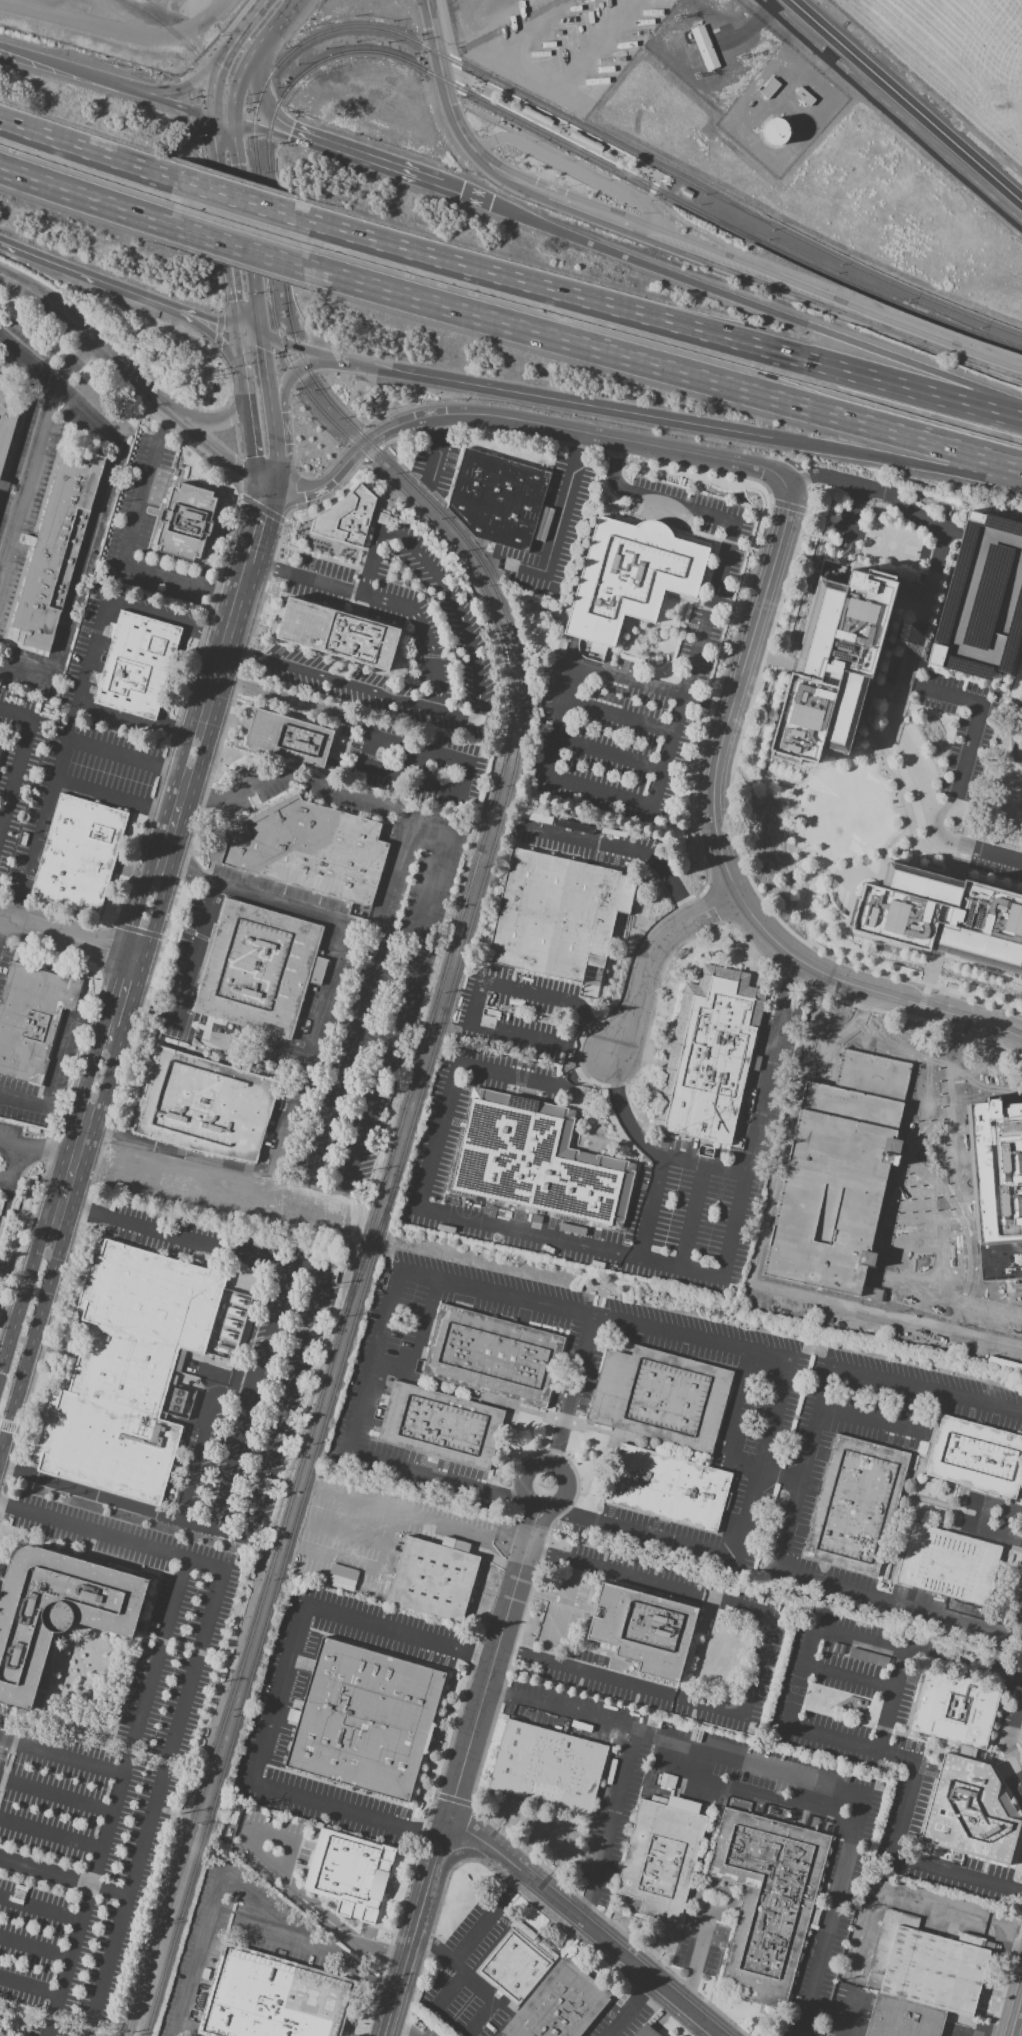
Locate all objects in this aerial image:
road: (506, 26)
road: (119, 33)
building: (703, 49)
road: (451, 51)
road: (3, 52)
road: (227, 53)
road: (249, 56)
airport: (956, 56)
road: (64, 71)
railway: (209, 73)
road: (470, 82)
road: (185, 87)
road: (260, 90)
road: (905, 102)
road: (166, 103)
building: (534, 116)
traffic signals: (210, 117)
road: (220, 120)
road: (453, 121)
traffic signals: (230, 123)
road: (258, 129)
building: (774, 131)
storage tank: (774, 131)
building: (585, 141)
road: (88, 152)
railway: (640, 161)
road: (375, 165)
road: (570, 172)
road: (656, 183)
road: (92, 200)
road: (236, 200)
railway: (726, 200)
road: (596, 215)
road: (224, 225)
railway: (727, 225)
road: (246, 231)
road: (247, 250)
road: (733, 250)
road: (615, 255)
road: (712, 259)
road: (81, 276)
road: (526, 283)
road: (200, 319)
road: (900, 332)
traffic signals: (238, 333)
road: (86, 335)
road: (209, 336)
road: (249, 336)
traffic signals: (261, 340)
road: (304, 351)
road: (29, 359)
road: (897, 360)
road: (664, 369)
road: (292, 377)
road: (890, 384)
road: (269, 386)
road: (544, 399)
road: (249, 413)
building: (7, 417)
road: (520, 421)
road: (217, 424)
road: (756, 437)
traffic signals: (771, 440)
road: (440, 449)
road: (215, 450)
road: (36, 459)
road: (896, 461)
road: (277, 463)
building: (3, 485)
road: (870, 489)
traffic signals: (267, 492)
building: (497, 499)
road: (788, 507)
road: (856, 509)
building: (348, 519)
building: (185, 522)
parking lot: (846, 525)
road: (557, 526)
road: (258, 528)
road: (954, 530)
park: (891, 543)
road: (92, 545)
road: (129, 545)
building: (56, 548)
building: (630, 578)
road: (906, 593)
building: (980, 602)
parking lot: (980, 602)
road: (380, 603)
road: (927, 605)
road: (453, 607)
road: (231, 622)
parking lot: (902, 629)
building: (338, 634)
road: (98, 647)
road: (905, 648)
road: (884, 657)
road: (778, 662)
building: (833, 662)
building: (137, 666)
parking lot: (892, 667)
road: (880, 672)
road: (326, 681)
road: (707, 703)
road: (916, 708)
road: (621, 718)
road: (977, 726)
parking lot: (962, 731)
road: (1012, 736)
building: (290, 740)
road: (852, 741)
road: (670, 744)
road: (473, 747)
road: (907, 747)
road: (416, 751)
road: (610, 755)
road: (19, 758)
road: (61, 767)
road: (762, 773)
park: (1002, 773)
road: (289, 785)
road: (121, 798)
road: (455, 814)
road: (905, 817)
road: (795, 818)
road: (184, 819)
road: (698, 838)
road: (968, 845)
road: (623, 848)
road: (736, 848)
road: (931, 850)
building: (310, 851)
road: (722, 851)
road: (965, 852)
building: (79, 855)
road: (914, 859)
parking lot: (995, 869)
road: (929, 879)
road: (990, 885)
road: (315, 914)
building: (556, 914)
road: (805, 917)
building: (944, 917)
road: (0, 919)
road: (181, 929)
road: (71, 938)
railway: (456, 941)
road: (936, 953)
railway: (464, 954)
road: (976, 957)
road: (651, 959)
building: (258, 968)
road: (931, 971)
road: (183, 980)
road: (537, 995)
road: (130, 1001)
road: (921, 1006)
building: (31, 1019)
road: (101, 1023)
road: (188, 1025)
road: (233, 1028)
road: (66, 1032)
road: (595, 1032)
road: (904, 1035)
road: (548, 1039)
building: (709, 1057)
road: (857, 1065)
road: (346, 1066)
road: (768, 1068)
road: (304, 1073)
building: (205, 1105)
road: (47, 1107)
road: (623, 1114)
building: (964, 1131)
road: (285, 1134)
road: (41, 1153)
road: (187, 1156)
building: (536, 1161)
road: (13, 1170)
road: (305, 1179)
park: (464, 1218)
road: (815, 1220)
road: (733, 1228)
road: (520, 1232)
road: (59, 1245)
railway: (370, 1252)
building: (945, 1262)
building: (0, 1263)
road: (334, 1278)
road: (811, 1305)
road: (582, 1314)
road: (691, 1339)
road: (416, 1340)
building: (492, 1355)
road: (374, 1365)
building: (136, 1369)
road: (926, 1394)
road: (289, 1396)
building: (660, 1397)
road: (251, 1399)
road: (736, 1414)
building: (441, 1425)
road: (894, 1427)
building: (976, 1457)
road: (763, 1462)
road: (780, 1478)
road: (447, 1481)
building: (667, 1488)
building: (855, 1505)
road: (429, 1518)
road: (972, 1518)
road: (633, 1533)
road: (93, 1534)
road: (254, 1546)
road: (506, 1550)
building: (949, 1564)
road: (800, 1576)
building: (342, 1577)
building: (435, 1578)
road: (493, 1593)
road: (555, 1598)
building: (56, 1612)
road: (562, 1613)
road: (243, 1616)
road: (704, 1619)
road: (1017, 1620)
building: (644, 1629)
road: (699, 1650)
road: (196, 1653)
road: (497, 1654)
road: (762, 1669)
road: (848, 1677)
fountain: (87, 1688)
road: (79, 1691)
road: (89, 1695)
road: (278, 1695)
road: (890, 1701)
building: (955, 1708)
road: (461, 1713)
building: (366, 1721)
road: (1014, 1727)
road: (53, 1730)
road: (809, 1731)
road: (433, 1742)
road: (9, 1755)
road: (61, 1758)
road: (162, 1762)
building: (547, 1767)
road: (796, 1776)
road: (441, 1778)
building: (665, 1780)
parking lot: (104, 1785)
road: (159, 1787)
road: (56, 1797)
road: (762, 1798)
road: (117, 1799)
building: (970, 1812)
road: (609, 1826)
road: (568, 1834)
road: (51, 1836)
road: (528, 1836)
building: (662, 1857)
building: (348, 1873)
road: (271, 1874)
road: (64, 1878)
road: (240, 1887)
fountain: (384, 1897)
building: (767, 1899)
road: (919, 1899)
road: (41, 1908)
road: (603, 1919)
road: (583, 1927)
road: (416, 1929)
road: (432, 1931)
road: (35, 1950)
road: (456, 1959)
road: (697, 1959)
building: (517, 1962)
building: (928, 1965)
road: (1006, 1978)
road: (30, 1987)
road: (449, 1992)
building: (272, 1999)
building: (559, 2004)
road: (631, 2009)
road: (849, 2014)
road: (1016, 2014)
building: (902, 2018)
road: (55, 2020)
road: (398, 2031)
building: (646, 2032)
road: (986, 2032)
road: (709, 2033)

